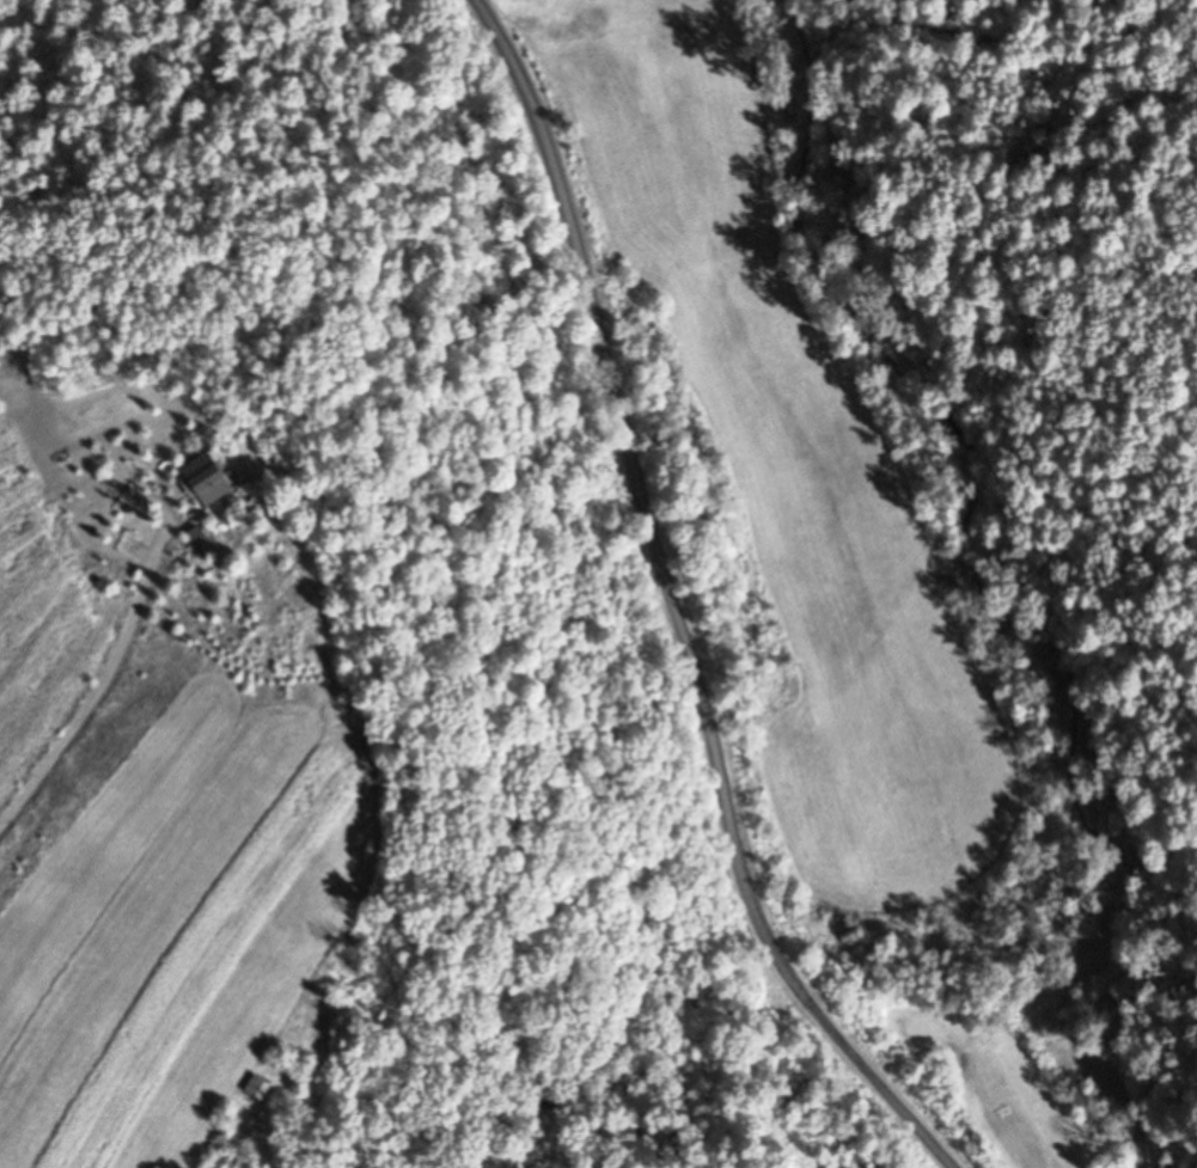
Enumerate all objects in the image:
building: (206, 479)
road: (676, 604)
road: (93, 685)
building: (257, 1088)

